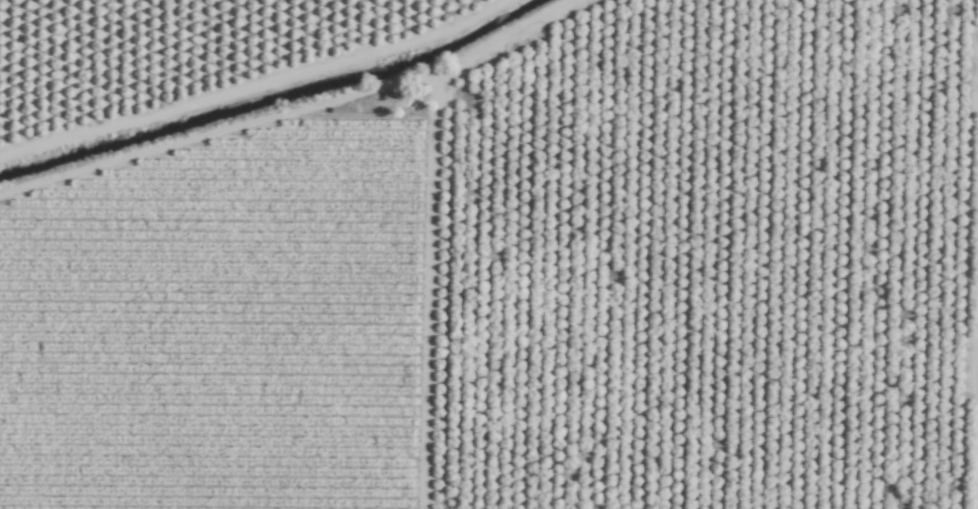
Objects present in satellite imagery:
road: (258, 87)

